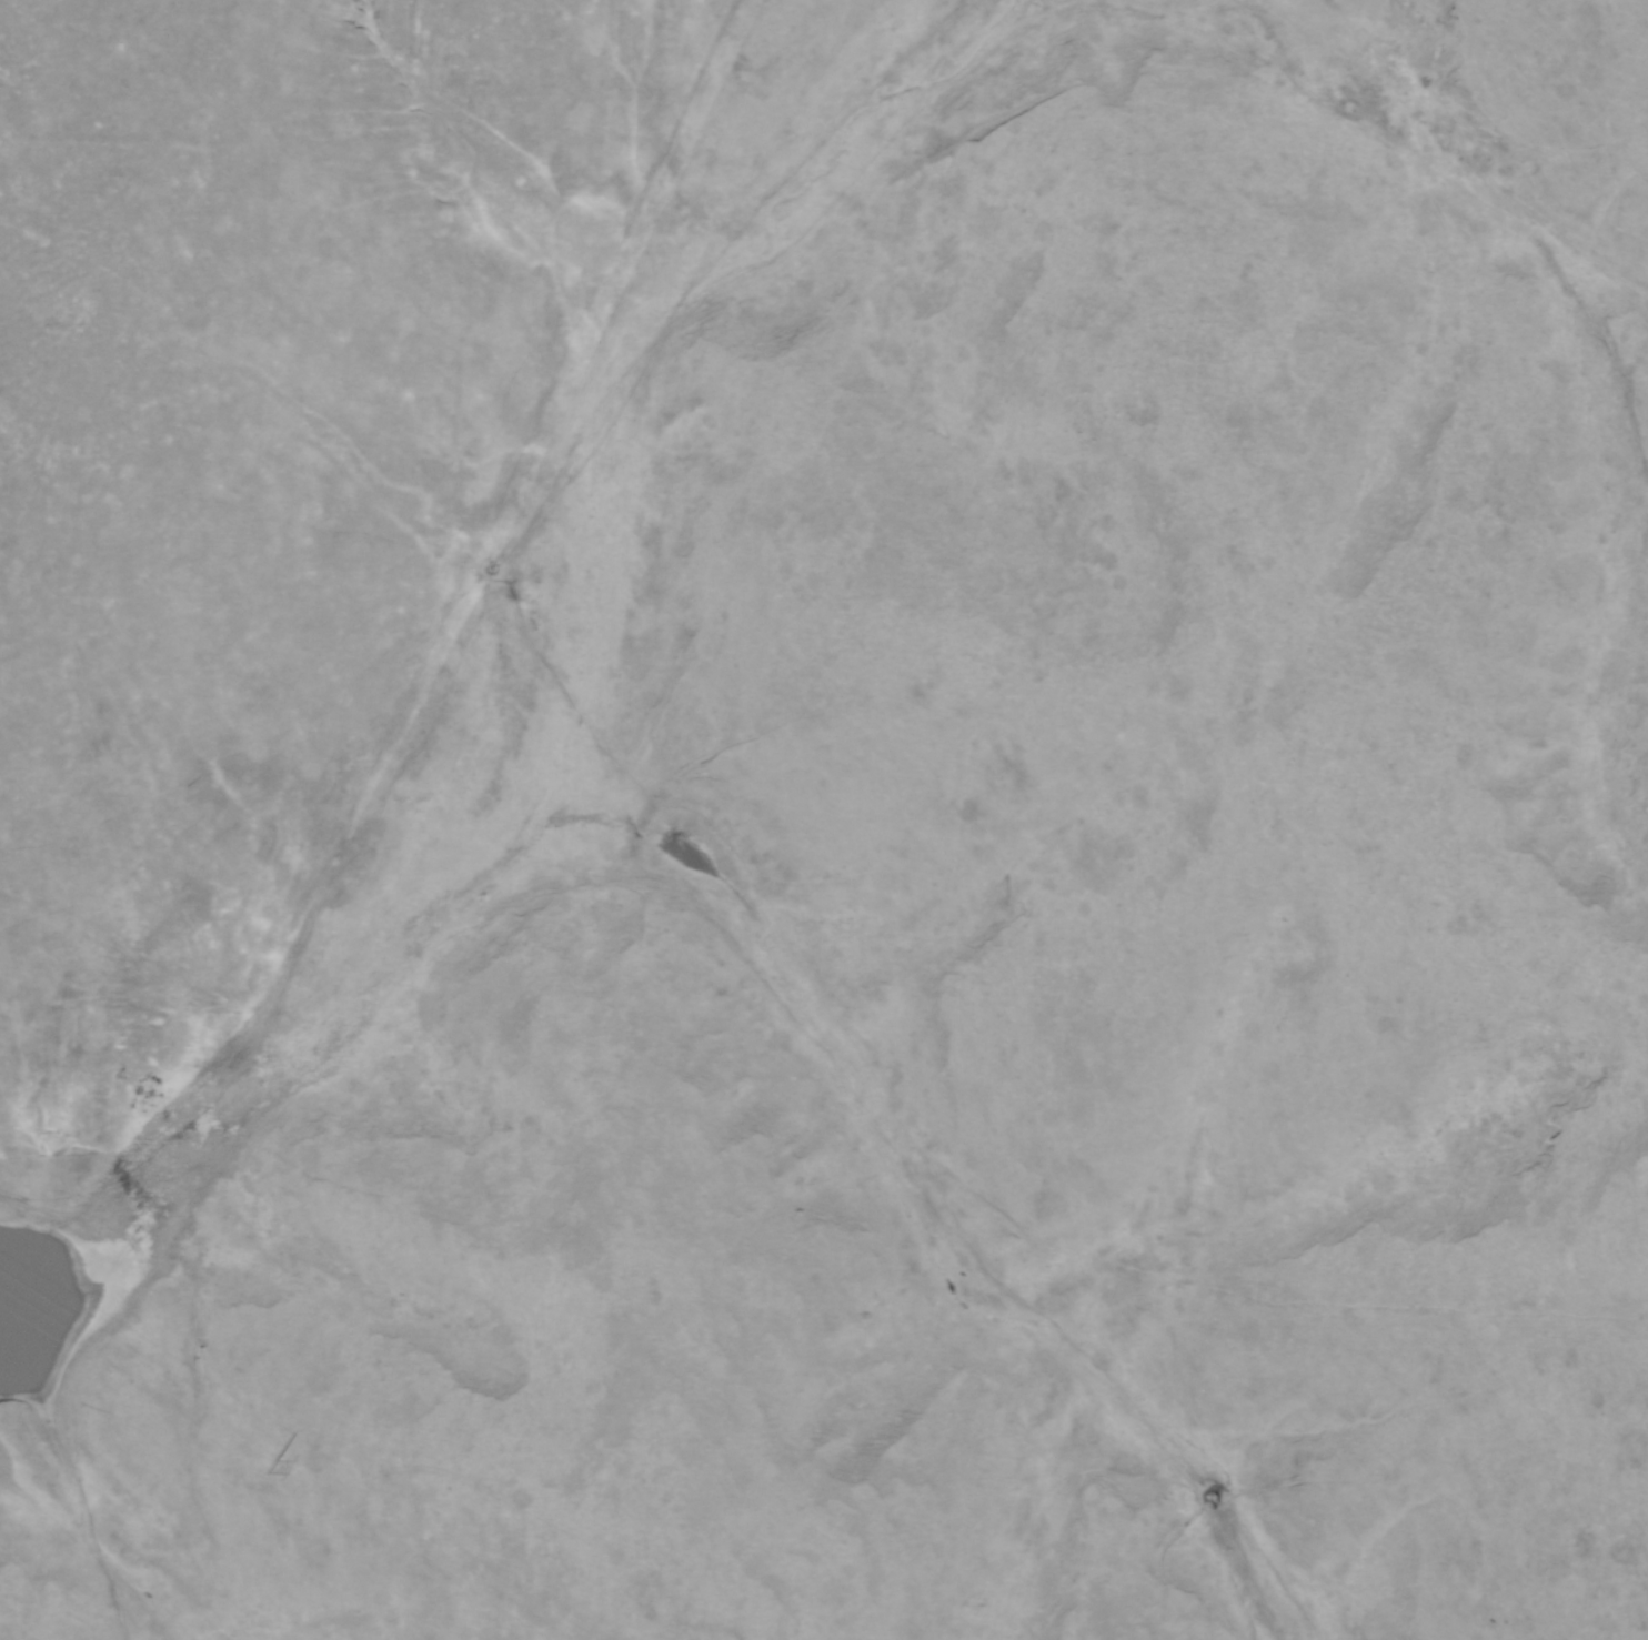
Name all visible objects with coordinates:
power tower: (272, 1468)

